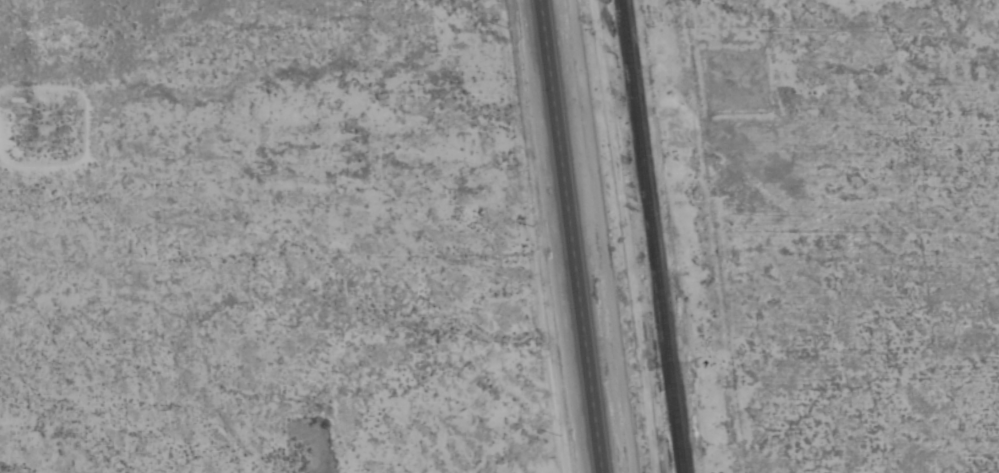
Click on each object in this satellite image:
road: (570, 236)
railway: (651, 236)

